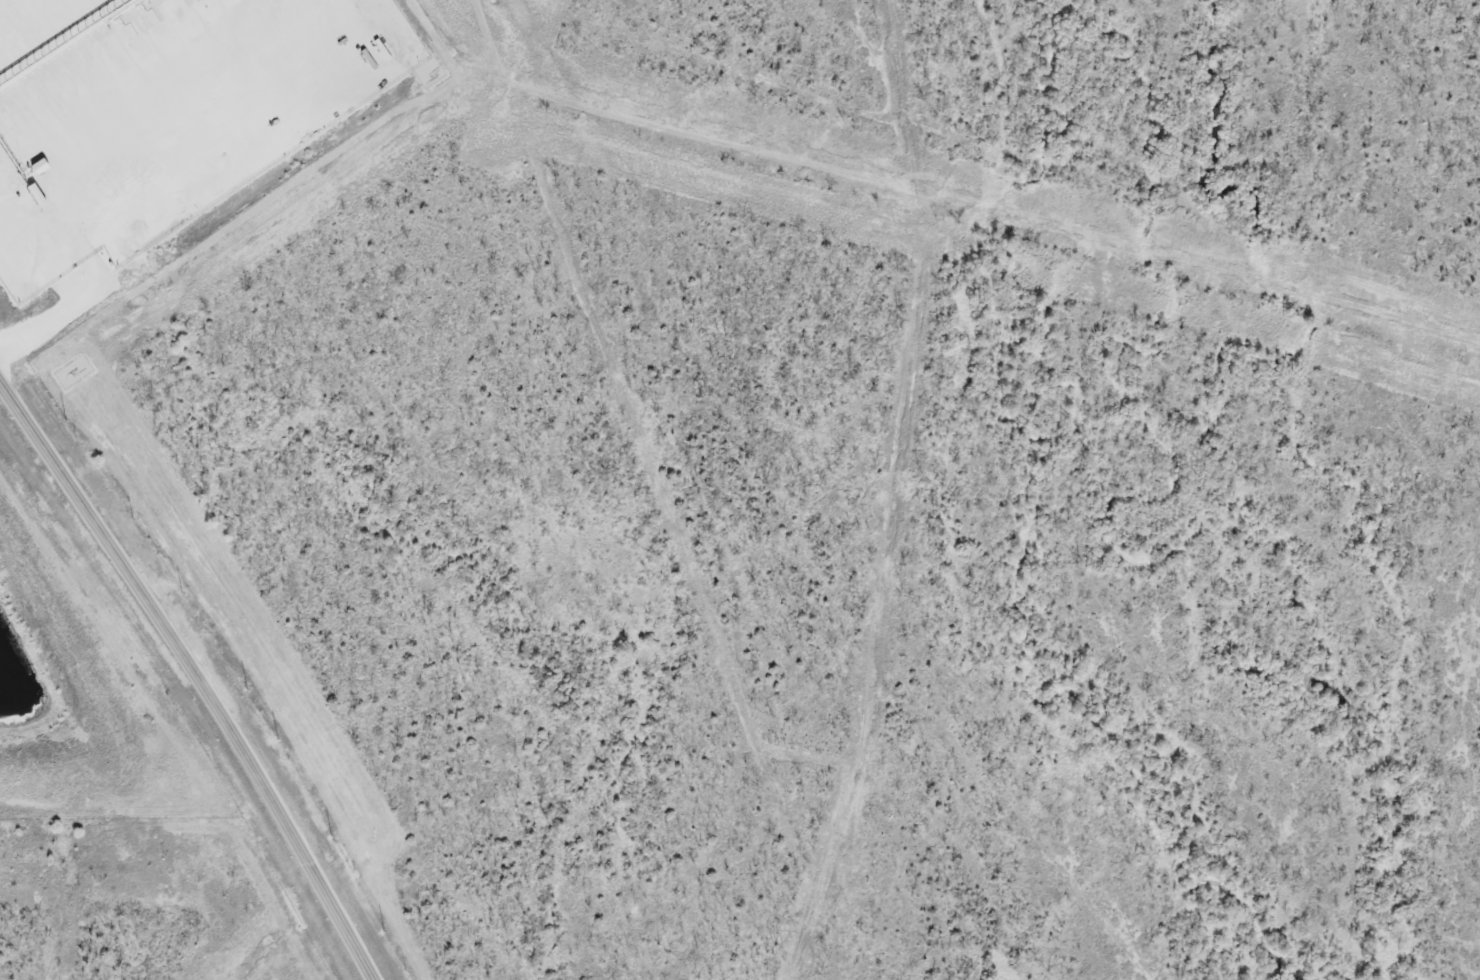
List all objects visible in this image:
road: (167, 213)
road: (194, 676)

